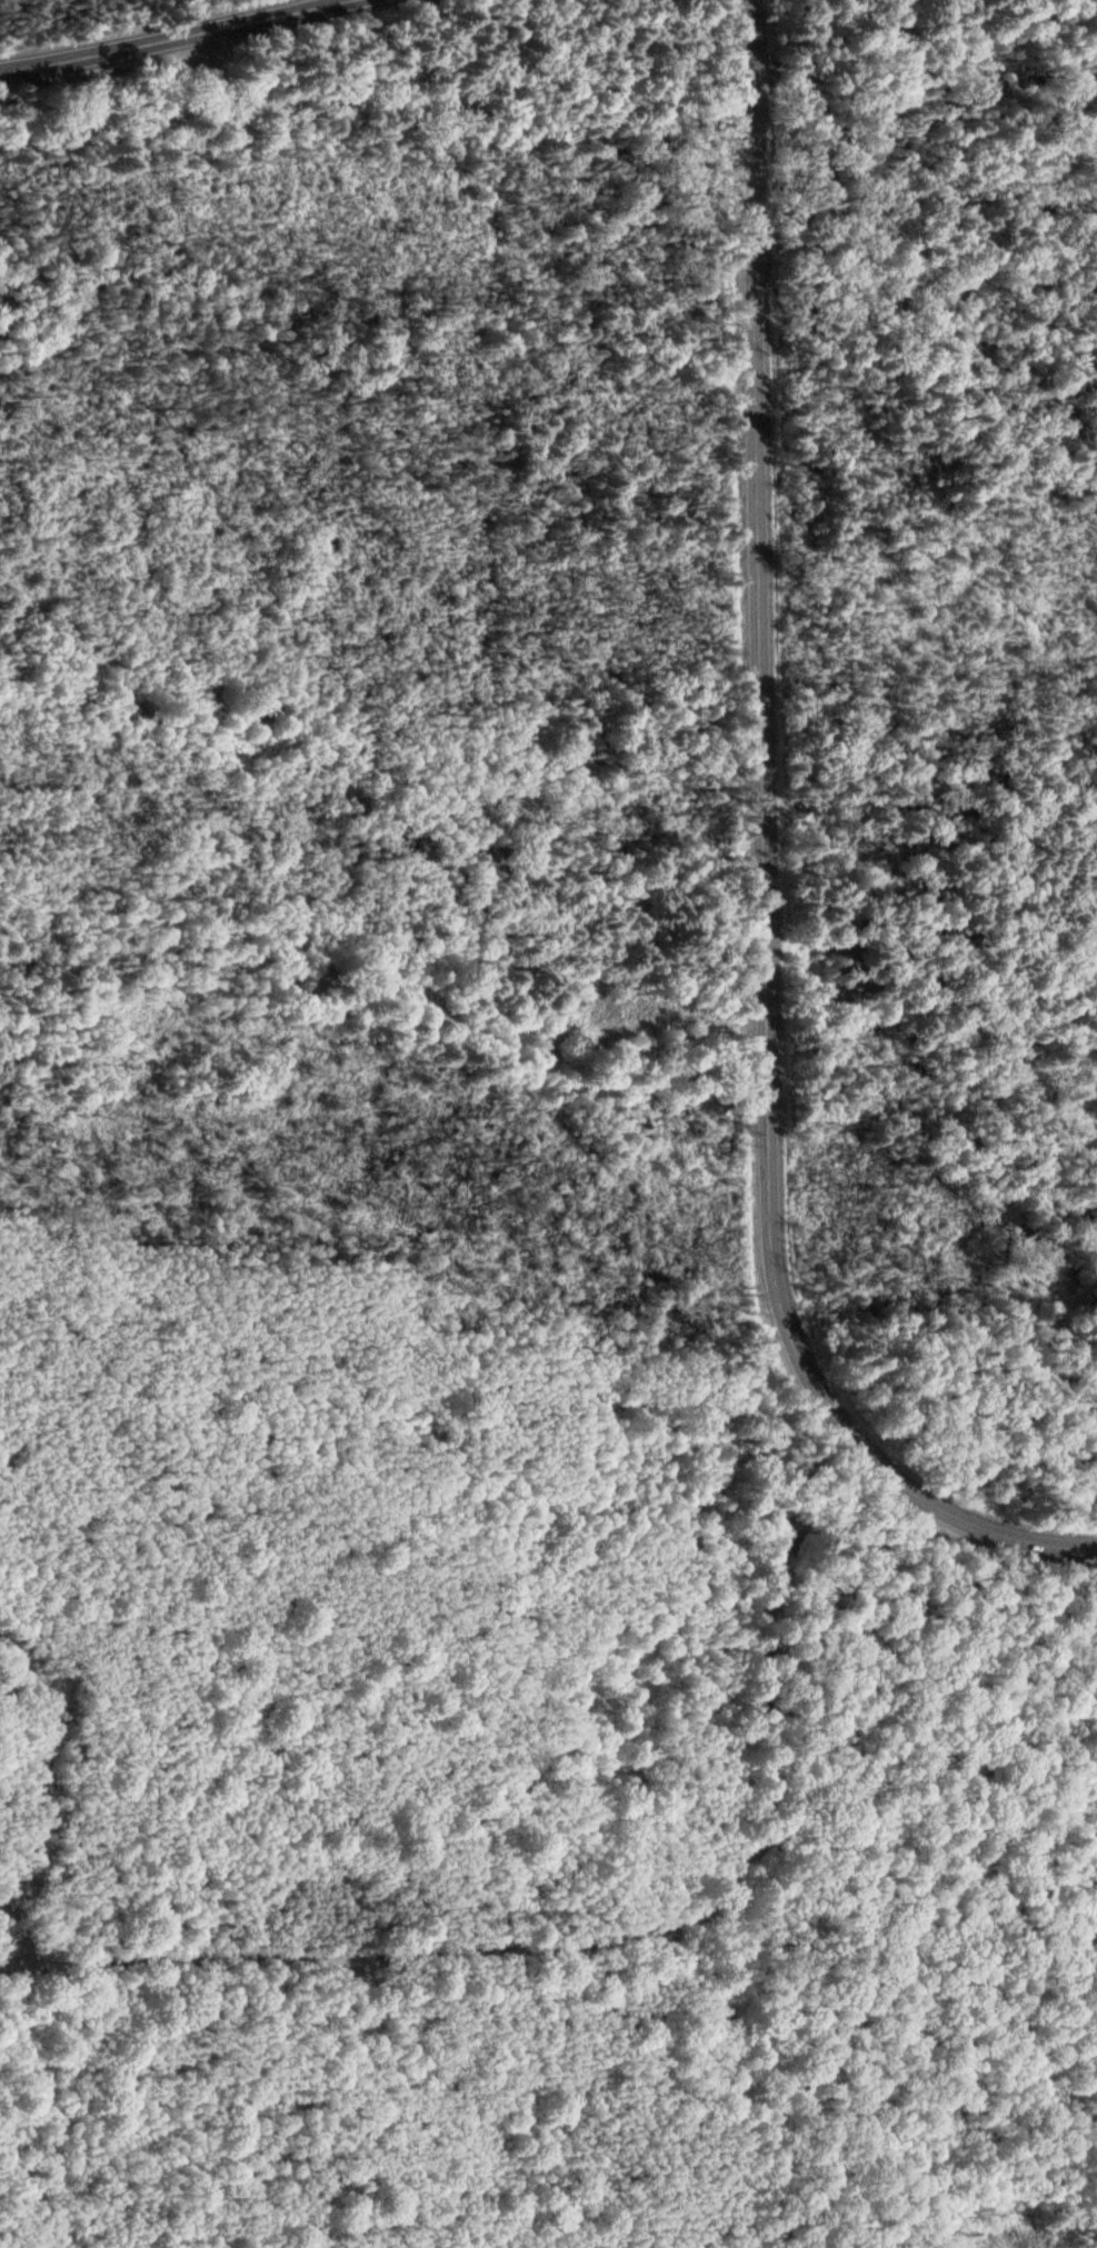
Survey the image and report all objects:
road: (176, 39)
road: (764, 870)
road: (861, 1539)
road: (758, 1769)
road: (724, 1875)
road: (415, 1949)
road: (918, 2151)

